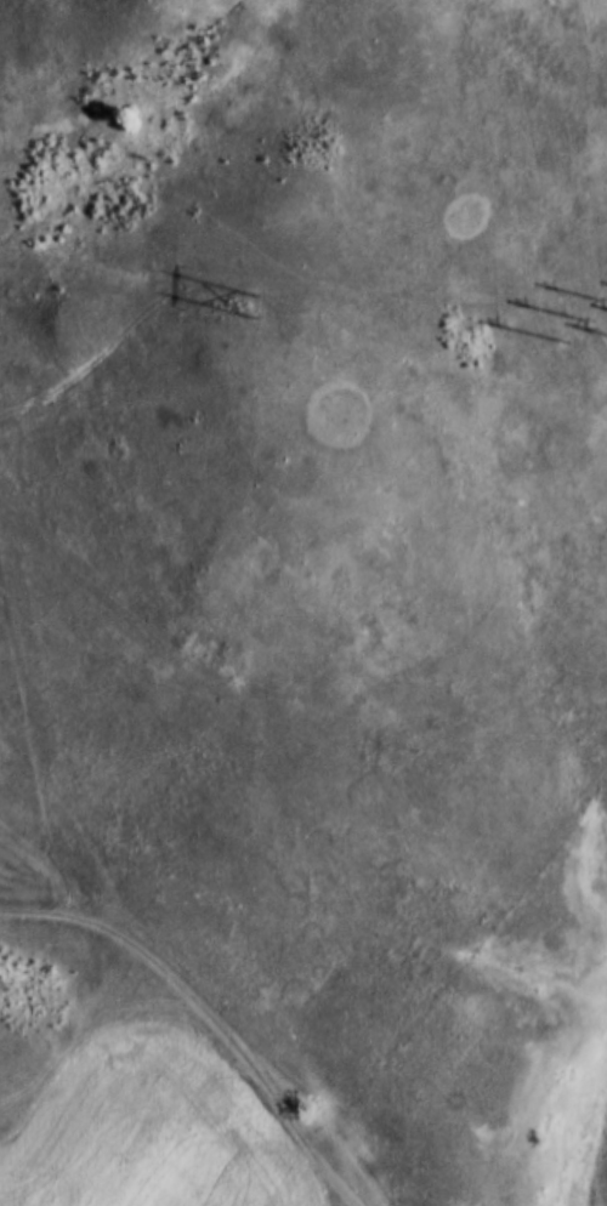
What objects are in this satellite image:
power tower: (257, 312)
power tower: (585, 324)
road: (204, 1016)

